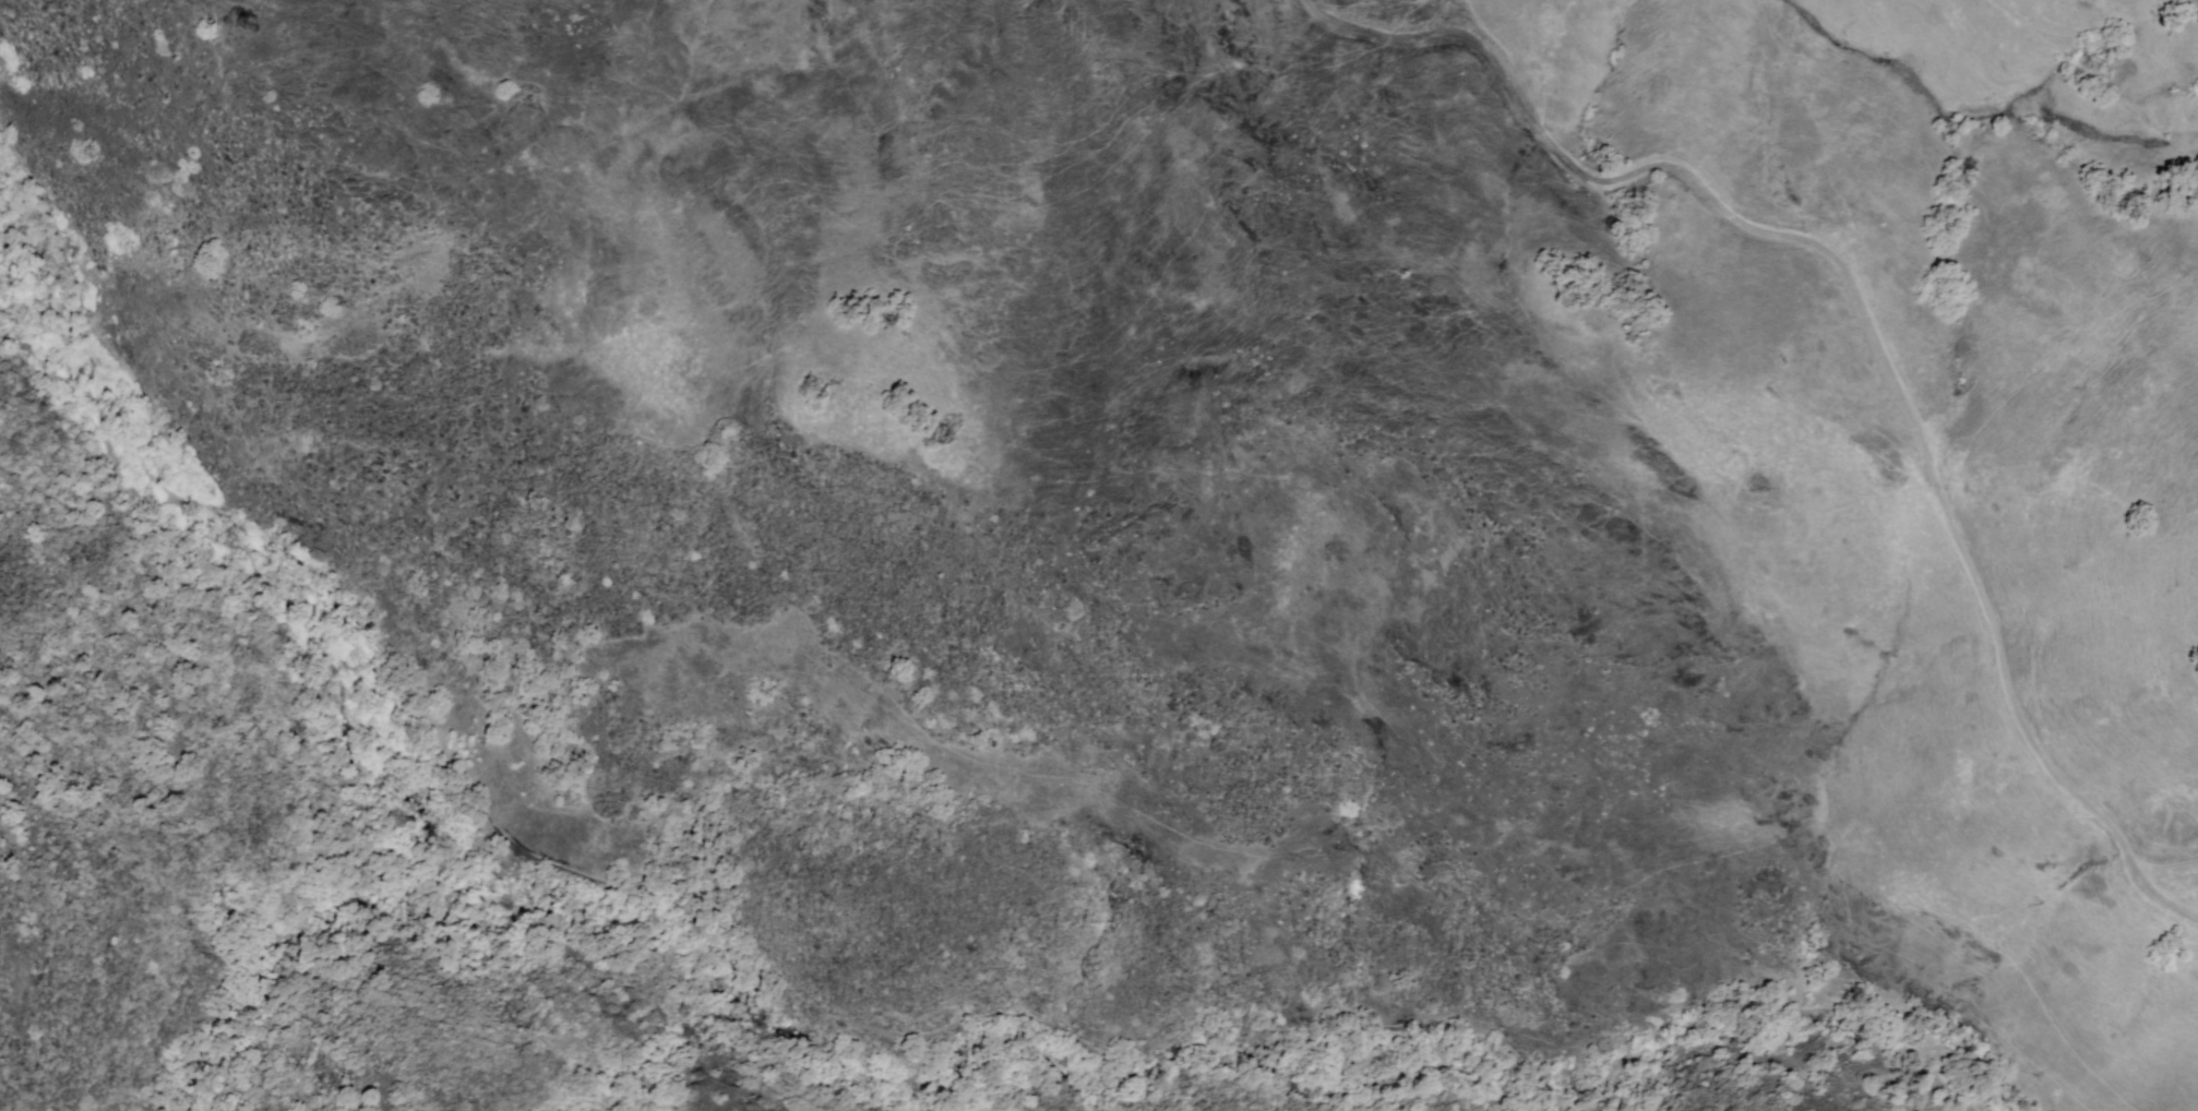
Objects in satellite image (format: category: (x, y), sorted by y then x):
power tower: (234, 50)
road: (1870, 310)
road: (224, 725)
road: (2169, 862)
road: (604, 884)

